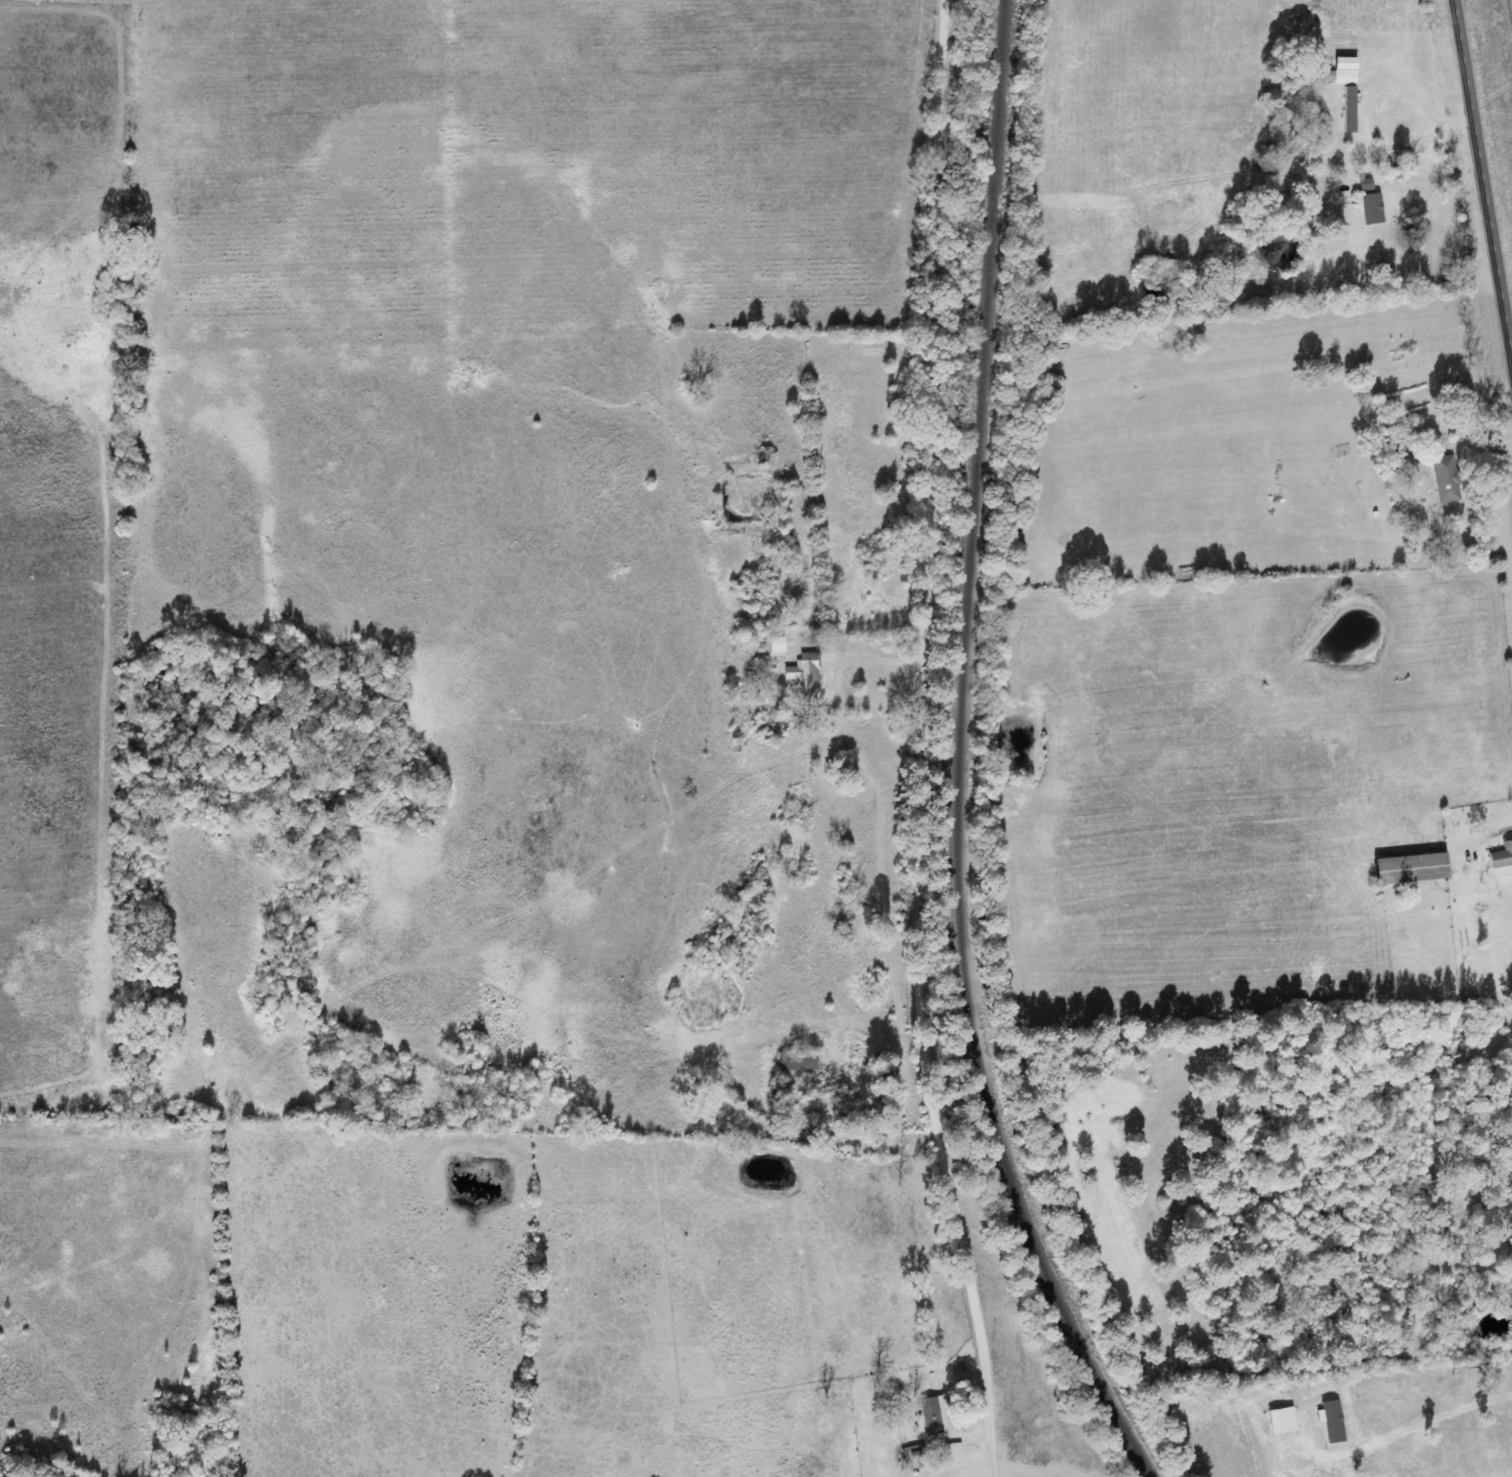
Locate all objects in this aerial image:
building: (1347, 63)
building: (1351, 109)
road: (1484, 160)
building: (1366, 185)
building: (1371, 208)
building: (1404, 457)
building: (1446, 474)
building: (777, 644)
road: (917, 742)
railway: (956, 756)
building: (1502, 856)
building: (1413, 868)
building: (798, 1061)
building: (932, 1416)
building: (1332, 1421)
building: (915, 1456)

